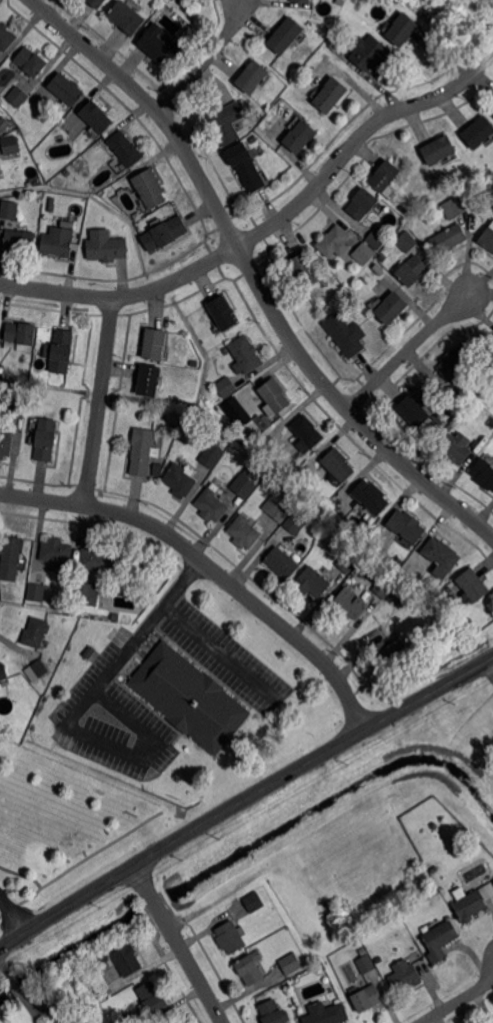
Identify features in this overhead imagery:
building: (303, 1)
building: (96, 3)
building: (126, 17)
building: (0, 20)
building: (402, 29)
building: (286, 35)
building: (7, 36)
building: (155, 45)
building: (368, 51)
road: (206, 60)
building: (32, 61)
building: (252, 76)
building: (67, 89)
building: (330, 94)
building: (17, 97)
building: (97, 117)
building: (228, 122)
building: (4, 124)
building: (478, 131)
building: (300, 136)
building: (11, 145)
building: (126, 148)
building: (438, 149)
building: (245, 168)
building: (385, 175)
building: (0, 177)
building: (83, 179)
building: (151, 188)
building: (362, 203)
building: (455, 206)
building: (52, 207)
building: (9, 211)
road: (267, 228)
building: (166, 233)
building: (377, 238)
building: (449, 238)
building: (488, 238)
building: (20, 240)
building: (407, 241)
building: (335, 242)
building: (57, 243)
building: (107, 246)
building: (364, 253)
building: (378, 268)
building: (306, 270)
building: (410, 271)
road: (254, 274)
building: (392, 308)
building: (222, 313)
building: (346, 334)
building: (22, 335)
building: (153, 344)
building: (61, 351)
road: (409, 351)
building: (245, 355)
park: (488, 356)
building: (194, 362)
building: (456, 362)
building: (2, 369)
building: (149, 380)
building: (227, 386)
building: (274, 397)
road: (100, 402)
building: (17, 406)
building: (415, 410)
building: (228, 412)
building: (172, 427)
building: (306, 434)
building: (44, 440)
building: (267, 440)
building: (5, 441)
building: (481, 445)
building: (454, 448)
building: (142, 450)
building: (212, 454)
building: (339, 465)
building: (157, 468)
building: (484, 473)
building: (180, 480)
building: (243, 485)
building: (371, 497)
building: (335, 501)
building: (210, 505)
building: (279, 512)
building: (294, 524)
building: (407, 526)
building: (243, 532)
building: (56, 552)
building: (442, 554)
building: (12, 556)
building: (101, 561)
building: (348, 561)
building: (282, 563)
road: (210, 566)
building: (311, 584)
building: (474, 585)
building: (36, 592)
building: (85, 592)
building: (405, 595)
building: (352, 603)
building: (115, 616)
building: (35, 633)
building: (389, 650)
building: (90, 652)
road: (222, 653)
building: (40, 667)
road: (488, 668)
building: (3, 672)
building: (189, 698)
road: (74, 715)
road: (245, 800)
building: (253, 901)
building: (468, 905)
road: (14, 912)
building: (273, 916)
building: (402, 930)
building: (230, 937)
building: (440, 939)
road: (179, 944)
building: (126, 961)
building: (291, 963)
building: (366, 964)
building: (251, 968)
building: (405, 976)
building: (151, 998)
building: (368, 998)
road: (459, 1001)
building: (274, 1012)
building: (325, 1014)
building: (136, 1019)
building: (176, 1022)

